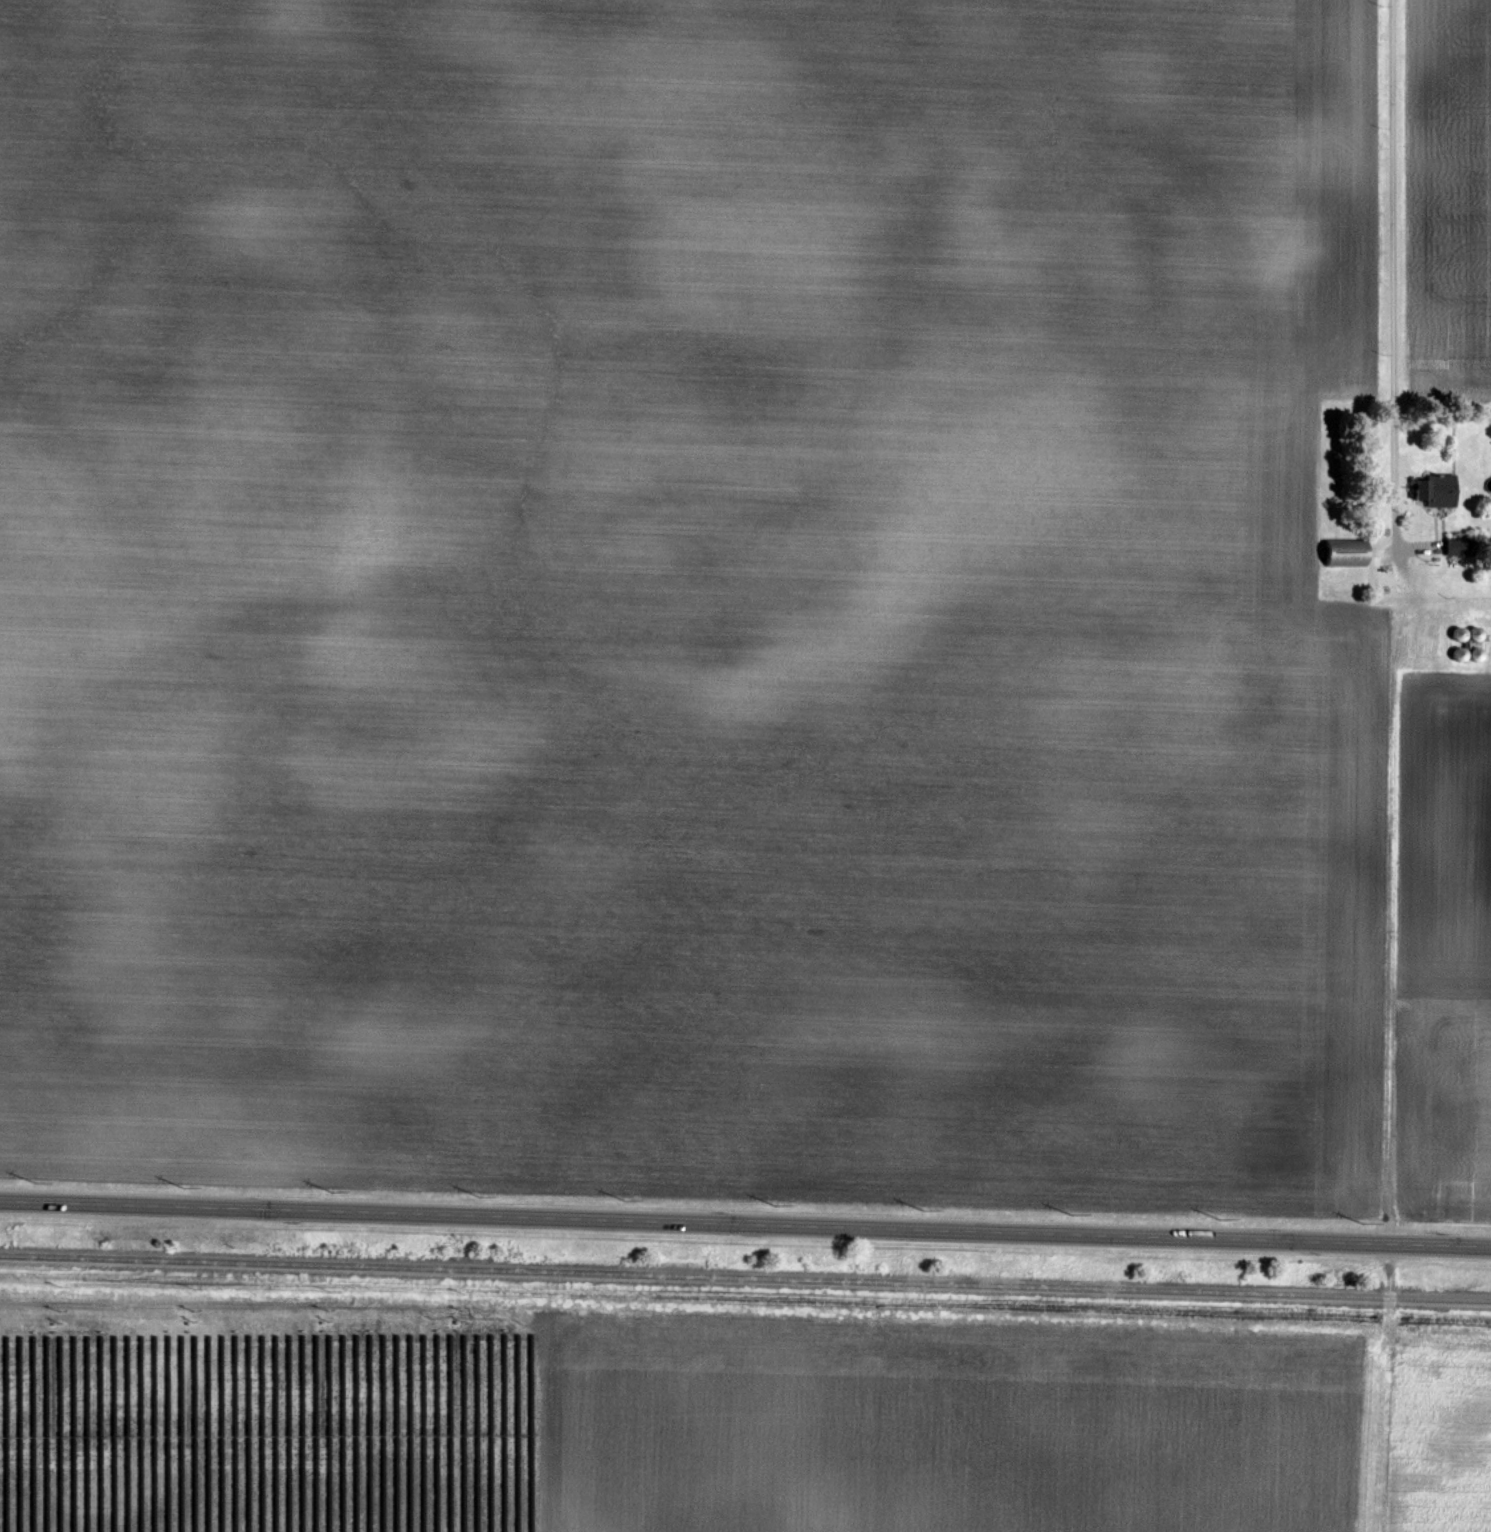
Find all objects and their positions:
road: (1393, 275)
road: (745, 1227)
railway: (745, 1281)
solar farm: (267, 1416)

